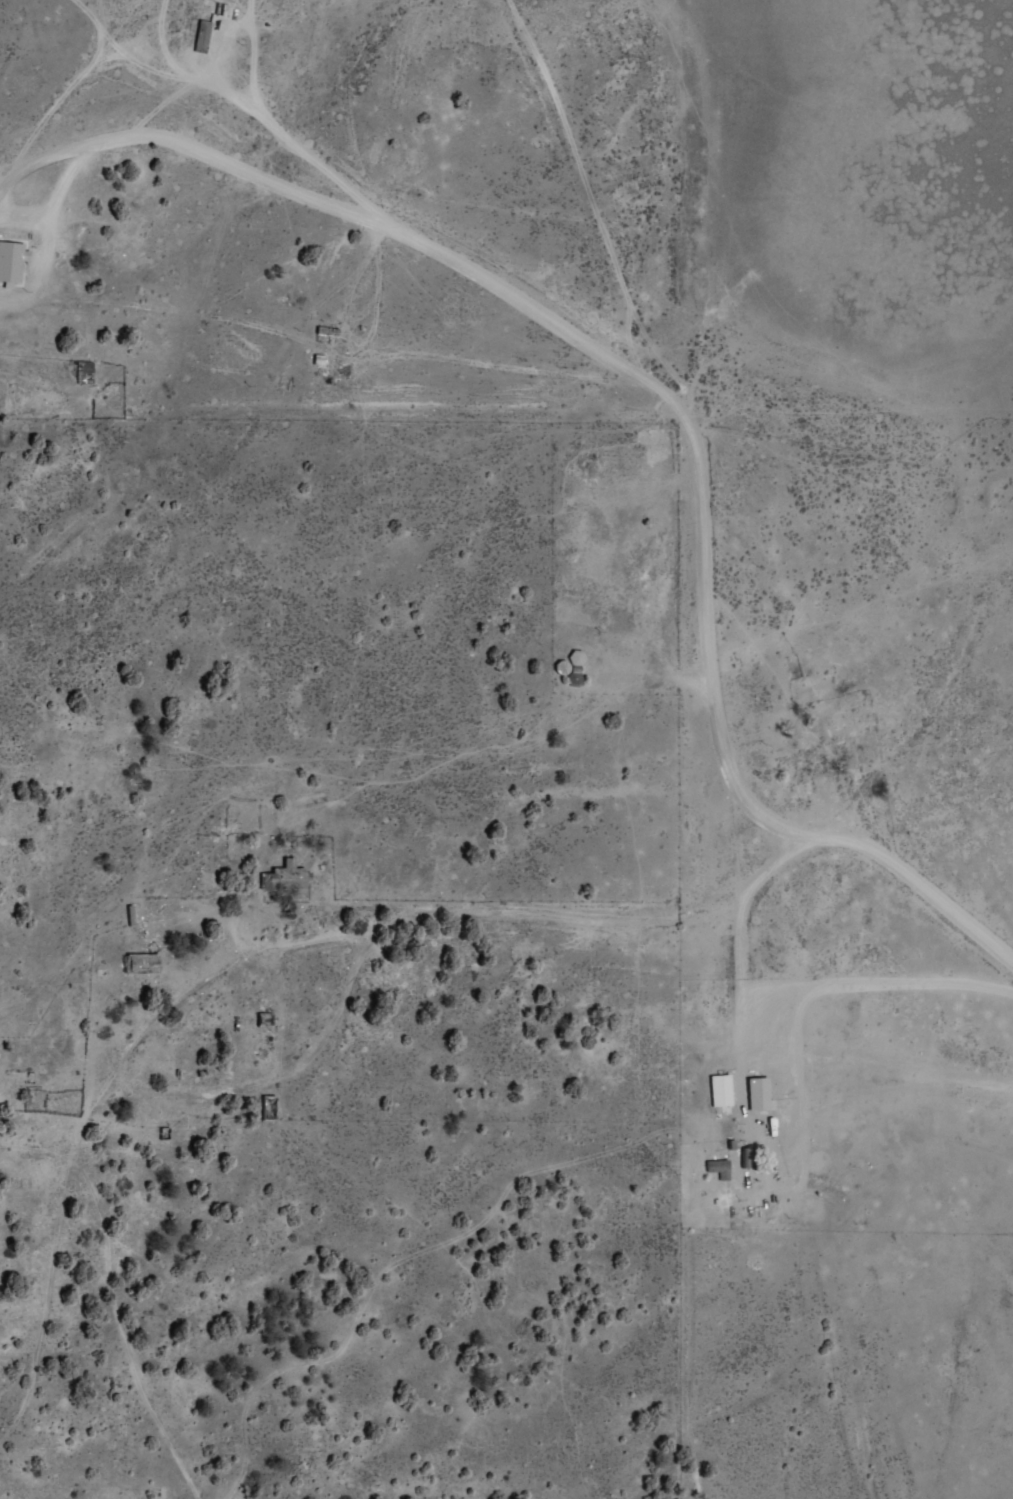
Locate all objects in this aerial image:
building: (202, 36)
road: (391, 226)
road: (609, 244)
building: (12, 261)
building: (327, 332)
building: (85, 373)
road: (709, 623)
road: (766, 816)
building: (285, 878)
road: (745, 890)
road: (927, 892)
road: (332, 918)
building: (158, 928)
road: (349, 934)
road: (245, 939)
building: (141, 963)
building: (264, 1019)
road: (853, 1061)
road: (900, 1090)
building: (721, 1091)
road: (786, 1091)
building: (760, 1095)
building: (269, 1108)
building: (728, 1134)
road: (35, 1148)
building: (766, 1157)
building: (815, 1167)
building: (719, 1168)

